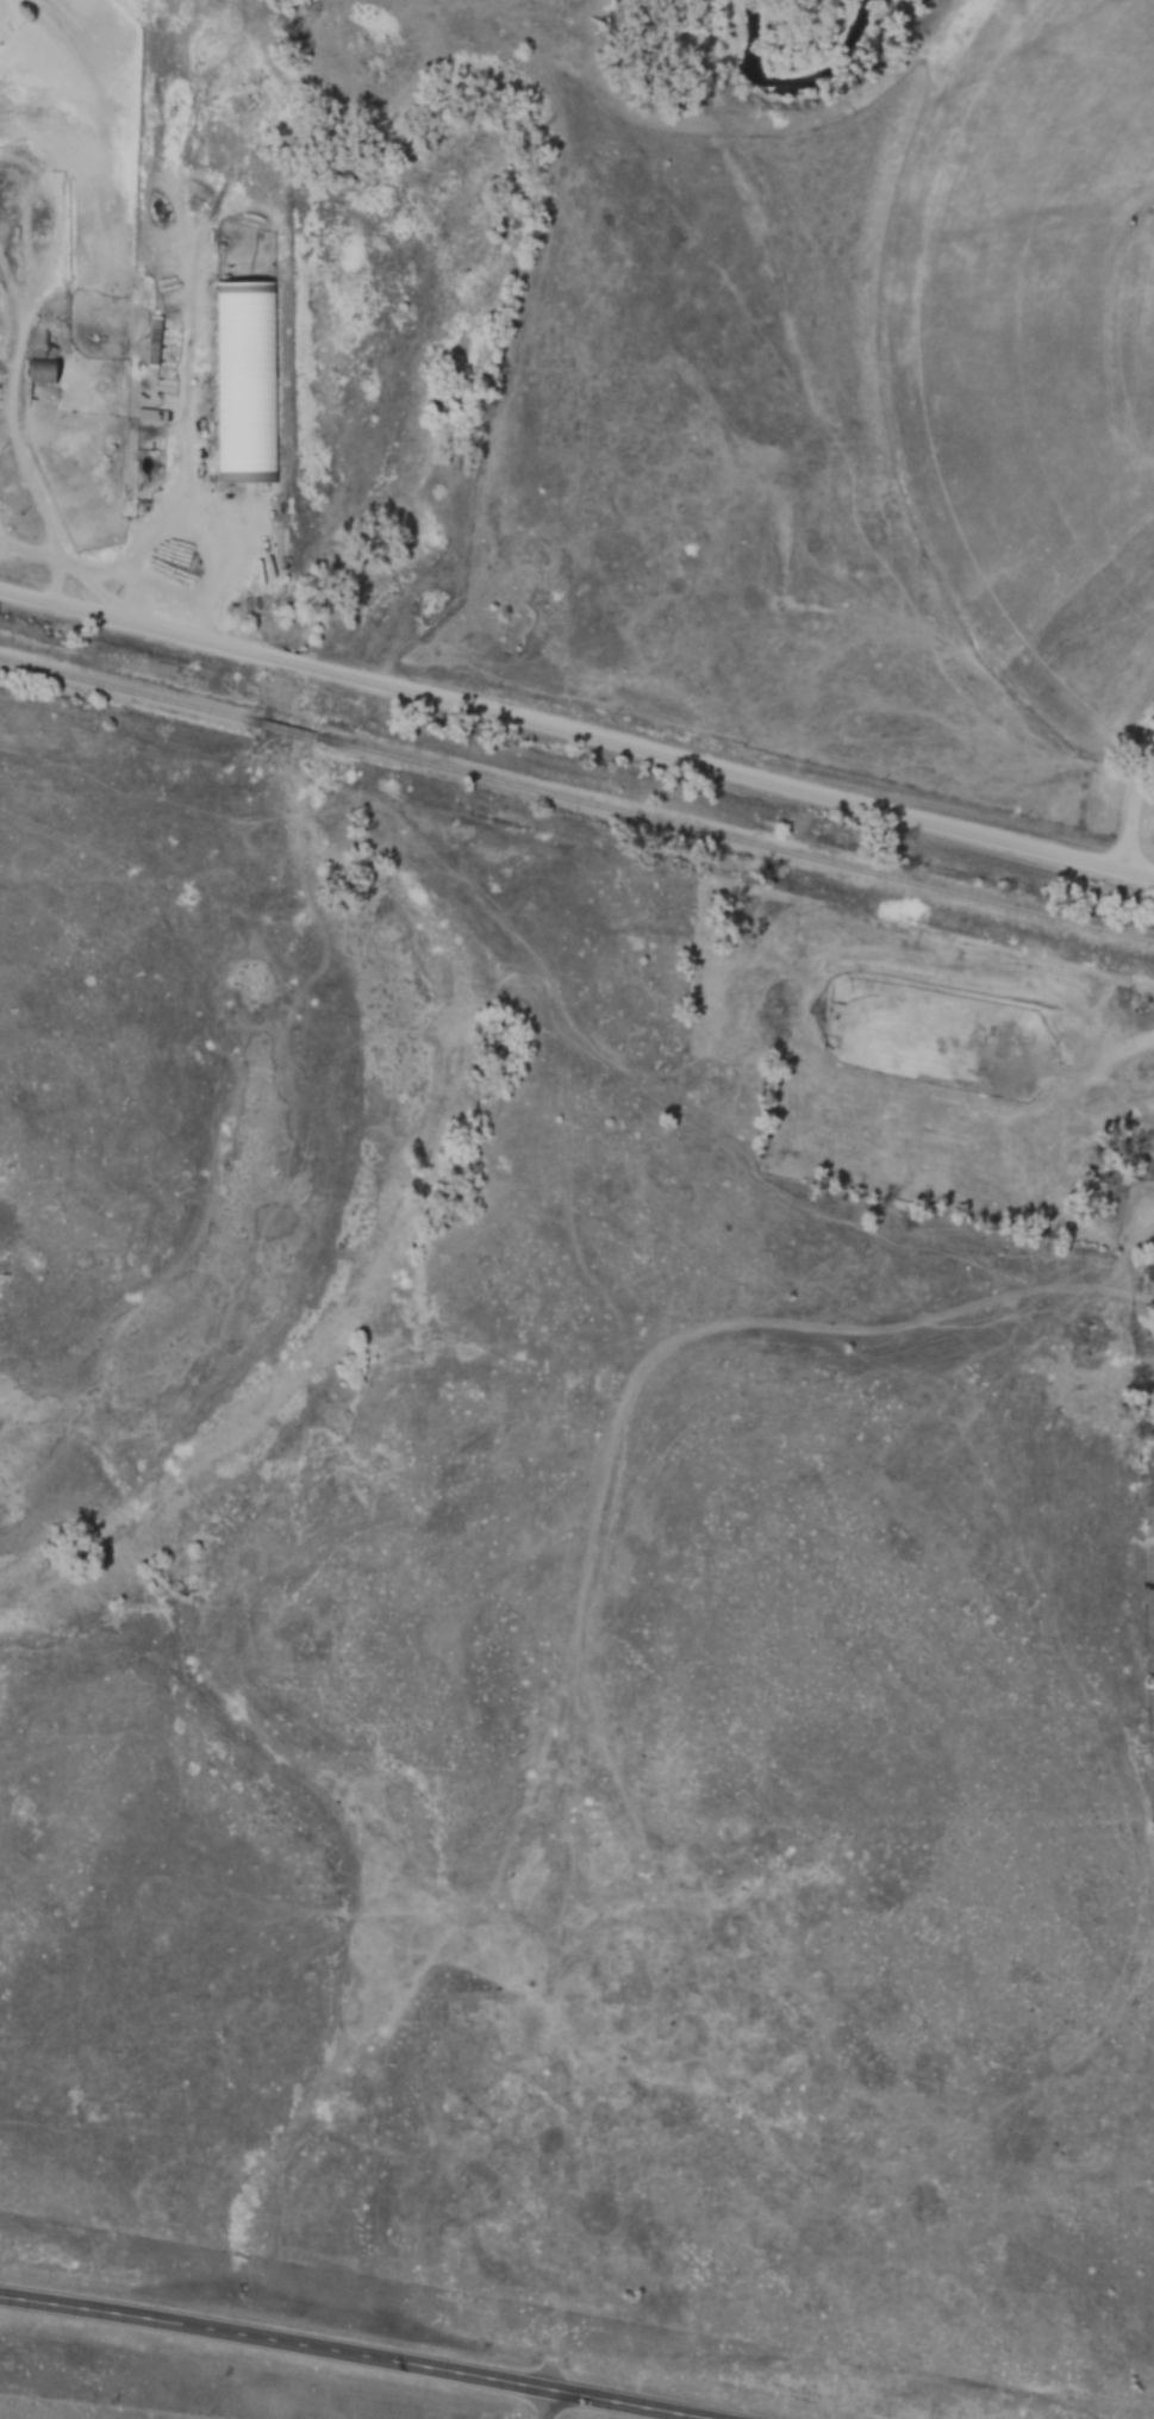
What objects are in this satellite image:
building: (43, 372)
building: (244, 380)
road: (44, 510)
road: (164, 635)
railway: (131, 691)
railway: (289, 730)
road: (741, 781)
railway: (735, 837)
road: (347, 2358)

